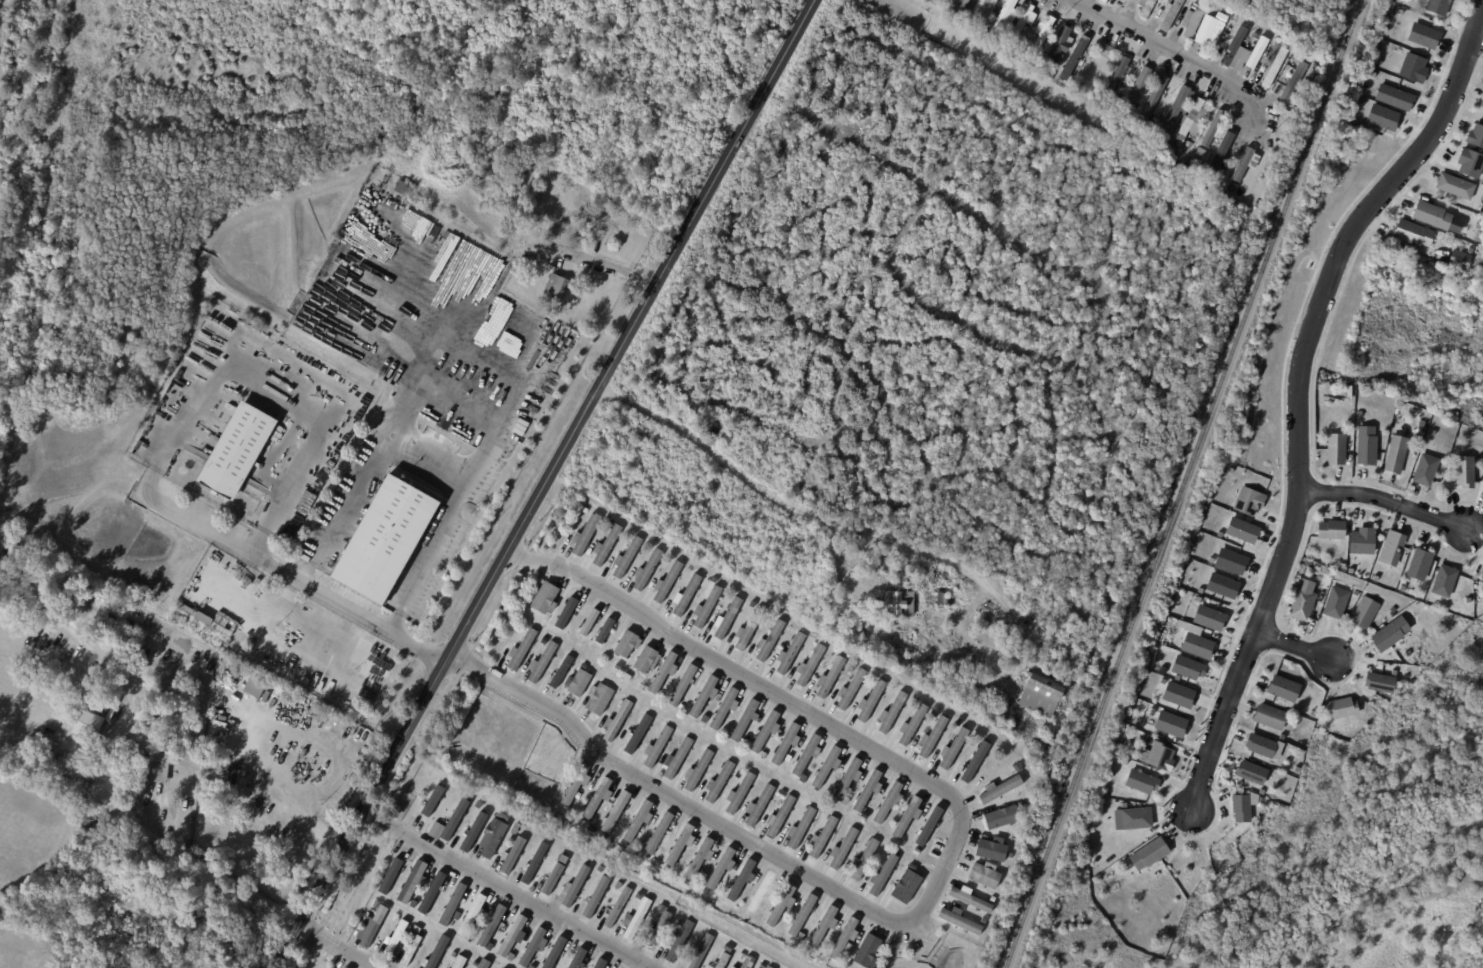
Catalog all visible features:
building: (941, 0)
building: (933, 1)
building: (1103, 1)
building: (1145, 7)
building: (958, 8)
building: (1436, 8)
building: (980, 11)
building: (1171, 14)
building: (1004, 17)
building: (1233, 18)
building: (1020, 23)
building: (1203, 23)
building: (1194, 26)
building: (1043, 33)
building: (1214, 34)
building: (1254, 35)
building: (1422, 35)
building: (1060, 42)
building: (1233, 45)
building: (1274, 48)
building: (1105, 51)
road: (1173, 52)
building: (1256, 53)
building: (1074, 57)
building: (1274, 66)
building: (1412, 67)
building: (1117, 76)
building: (1292, 83)
building: (1138, 89)
building: (1157, 90)
building: (1393, 97)
building: (1177, 103)
building: (1481, 104)
building: (1191, 116)
building: (1382, 117)
building: (1213, 128)
building: (1475, 135)
building: (1176, 142)
building: (1221, 153)
building: (1469, 163)
building: (1245, 164)
building: (1453, 185)
building: (405, 187)
building: (1410, 196)
building: (1431, 215)
building: (1412, 233)
building: (1470, 250)
building: (1458, 259)
road: (586, 261)
building: (416, 278)
building: (558, 286)
building: (519, 307)
road: (1297, 393)
building: (1420, 428)
building: (1365, 445)
building: (1336, 449)
building: (236, 453)
building: (1395, 454)
building: (1481, 456)
road: (422, 461)
building: (1424, 469)
building: (1464, 472)
road: (542, 484)
railway: (1174, 484)
building: (1482, 490)
building: (1247, 500)
road: (1385, 501)
road: (801, 516)
building: (1241, 530)
building: (1330, 531)
building: (584, 535)
building: (385, 539)
building: (1360, 540)
building: (605, 546)
building: (1390, 547)
building: (626, 558)
building: (1230, 561)
building: (1418, 564)
building: (1342, 566)
building: (646, 570)
building: (1481, 574)
building: (1442, 580)
road: (307, 583)
building: (666, 583)
building: (1324, 583)
building: (49, 584)
building: (1221, 585)
building: (686, 596)
building: (543, 598)
building: (938, 599)
building: (1334, 602)
building: (897, 603)
building: (1301, 605)
building: (706, 607)
building: (567, 612)
building: (1364, 614)
building: (1208, 617)
building: (727, 618)
building: (588, 621)
building: (214, 624)
building: (747, 629)
building: (603, 630)
building: (1389, 634)
building: (1195, 641)
building: (768, 642)
building: (626, 644)
building: (966, 647)
road: (1295, 647)
building: (521, 650)
building: (789, 654)
building: (644, 659)
building: (542, 662)
building: (809, 665)
building: (1186, 667)
building: (561, 671)
building: (663, 673)
building: (829, 679)
building: (1378, 681)
building: (578, 683)
building: (253, 686)
building: (681, 687)
building: (1282, 687)
building: (904, 689)
building: (851, 690)
building: (1177, 694)
building: (703, 697)
building: (1038, 697)
building: (598, 700)
building: (869, 702)
building: (1339, 707)
building: (724, 709)
building: (890, 716)
building: (1269, 717)
building: (703, 718)
building: (153, 720)
building: (616, 721)
building: (744, 721)
building: (958, 722)
building: (90, 723)
building: (1170, 723)
building: (913, 725)
building: (765, 733)
building: (634, 735)
building: (932, 737)
building: (1142, 740)
building: (744, 742)
building: (1259, 744)
building: (786, 745)
building: (657, 747)
building: (952, 749)
building: (806, 756)
building: (1160, 757)
building: (677, 758)
building: (973, 759)
building: (158, 766)
building: (783, 768)
building: (826, 768)
building: (697, 771)
building: (1250, 772)
building: (804, 776)
building: (848, 779)
building: (1140, 781)
building: (719, 782)
building: (575, 784)
building: (444, 787)
building: (998, 790)
building: (866, 791)
building: (739, 793)
building: (597, 798)
building: (887, 803)
building: (449, 804)
building: (758, 805)
building: (431, 807)
building: (1240, 808)
building: (391, 809)
building: (617, 810)
building: (779, 816)
building: (453, 817)
building: (502, 817)
building: (906, 817)
building: (237, 818)
building: (1001, 818)
building: (1131, 818)
building: (638, 821)
building: (929, 825)
building: (514, 827)
building: (799, 828)
building: (435, 829)
building: (473, 831)
building: (657, 833)
park: (29, 834)
building: (602, 835)
building: (538, 837)
building: (822, 837)
building: (491, 838)
building: (621, 842)
building: (679, 844)
building: (841, 849)
building: (934, 849)
building: (991, 850)
building: (512, 854)
road: (182, 855)
building: (1009, 855)
building: (1148, 855)
building: (562, 858)
building: (699, 858)
building: (863, 860)
building: (495, 863)
building: (531, 867)
building: (663, 867)
building: (911, 867)
building: (721, 868)
road: (939, 872)
building: (390, 875)
building: (884, 876)
building: (983, 876)
building: (553, 879)
building: (742, 879)
building: (411, 882)
building: (575, 886)
building: (905, 887)
road: (506, 889)
building: (761, 891)
building: (432, 894)
building: (596, 897)
building: (970, 899)
building: (462, 903)
building: (373, 904)
building: (451, 905)
building: (488, 905)
building: (780, 905)
park: (1274, 905)
building: (617, 908)
building: (482, 913)
building: (803, 914)
building: (471, 916)
building: (393, 918)
building: (636, 919)
building: (745, 919)
building: (983, 920)
building: (958, 921)
building: (679, 922)
building: (368, 926)
building: (491, 926)
building: (823, 926)
building: (659, 931)
building: (799, 936)
building: (550, 937)
building: (393, 938)
building: (512, 938)
building: (844, 938)
building: (680, 942)
road: (338, 946)
park: (26, 947)
building: (489, 947)
building: (534, 947)
building: (915, 947)
building: (729, 948)
building: (409, 949)
building: (428, 950)
building: (435, 951)
building: (703, 951)
building: (865, 951)
building: (451, 954)
building: (557, 954)
building: (578, 959)
building: (511, 960)
building: (724, 960)
building: (459, 962)
building: (749, 962)
building: (474, 963)
building: (601, 963)
building: (484, 964)
building: (763, 965)
building: (343, 967)
building: (529, 967)
building: (733, 967)
building: (771, 967)

